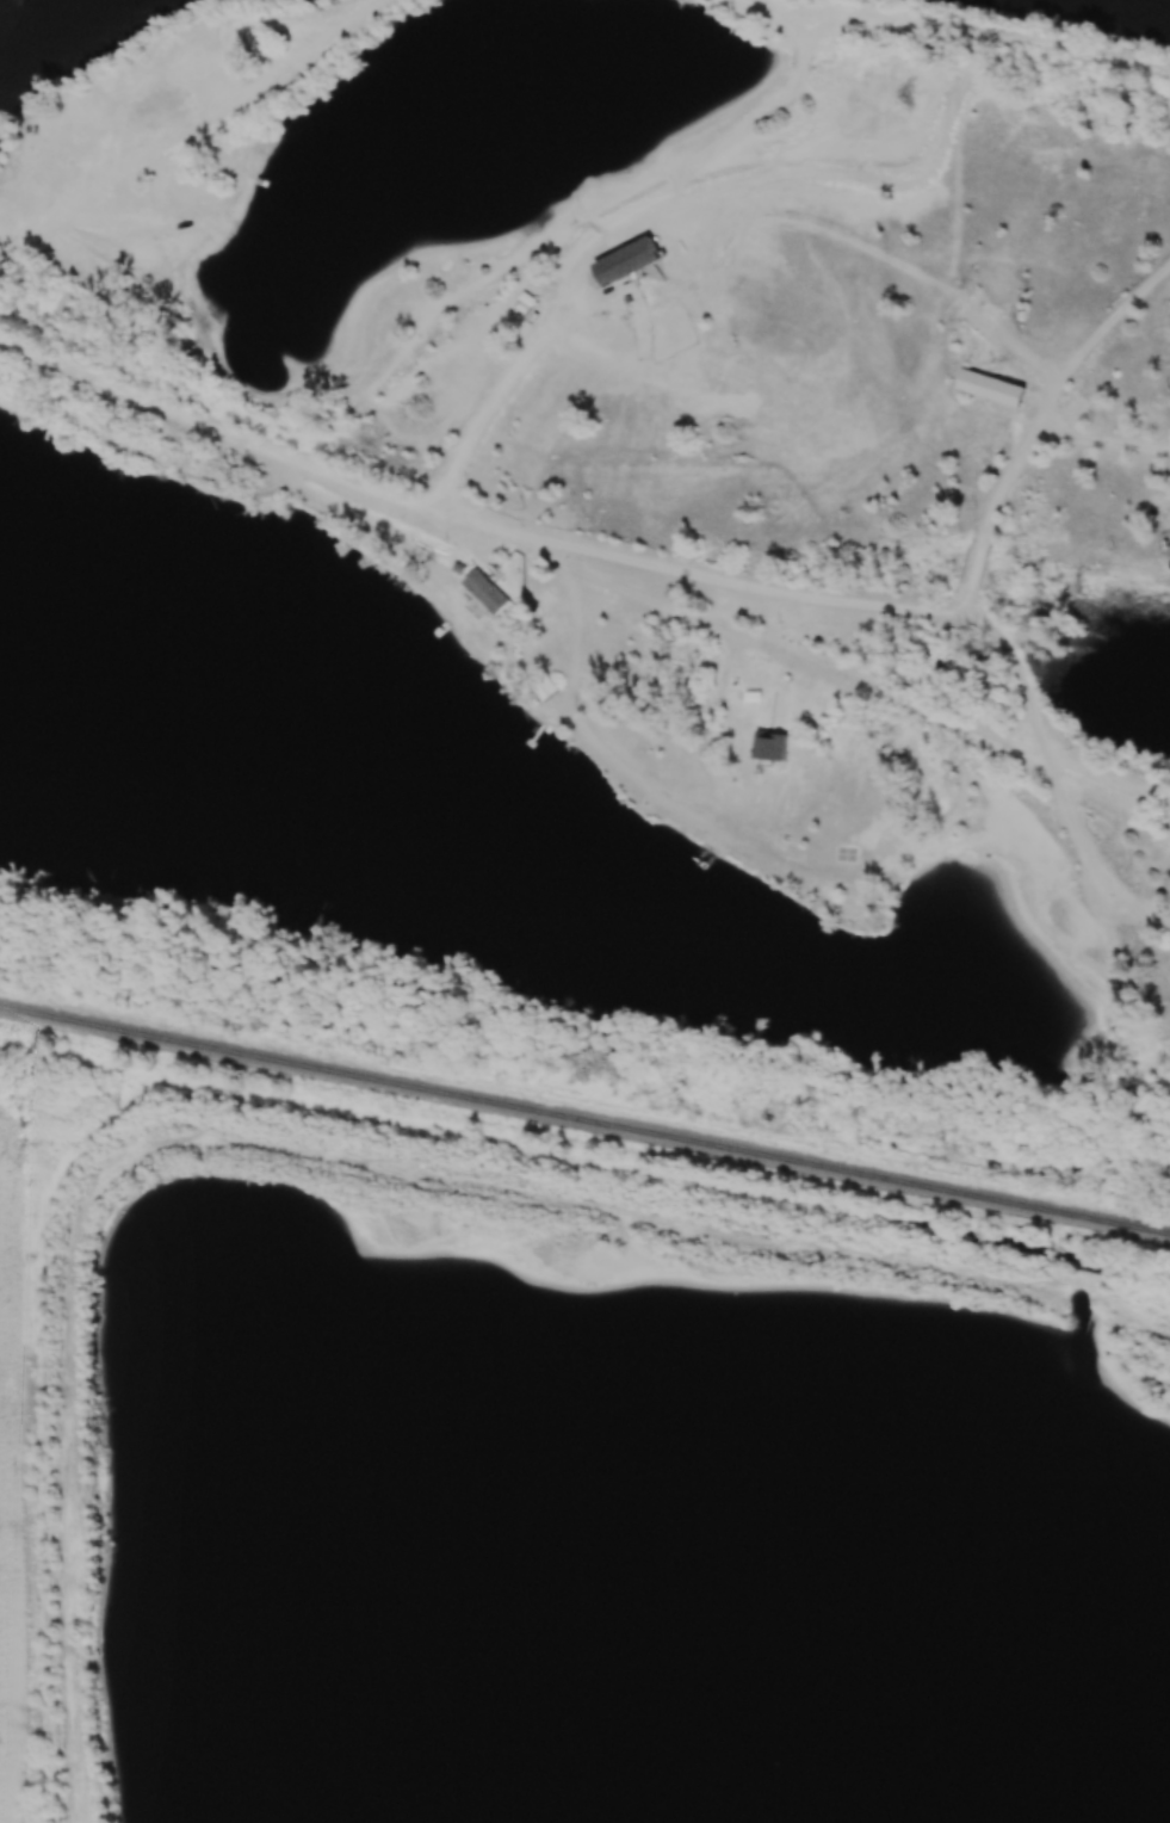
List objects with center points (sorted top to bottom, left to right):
road: (971, 25)
road: (177, 44)
road: (185, 136)
road: (608, 239)
building: (632, 264)
road: (897, 264)
road: (1107, 323)
building: (977, 381)
road: (280, 453)
road: (1015, 464)
road: (339, 512)
building: (491, 591)
road: (658, 602)
road: (872, 610)
building: (549, 688)
road: (1122, 803)
road: (726, 839)
road: (1091, 855)
railway: (584, 1118)

